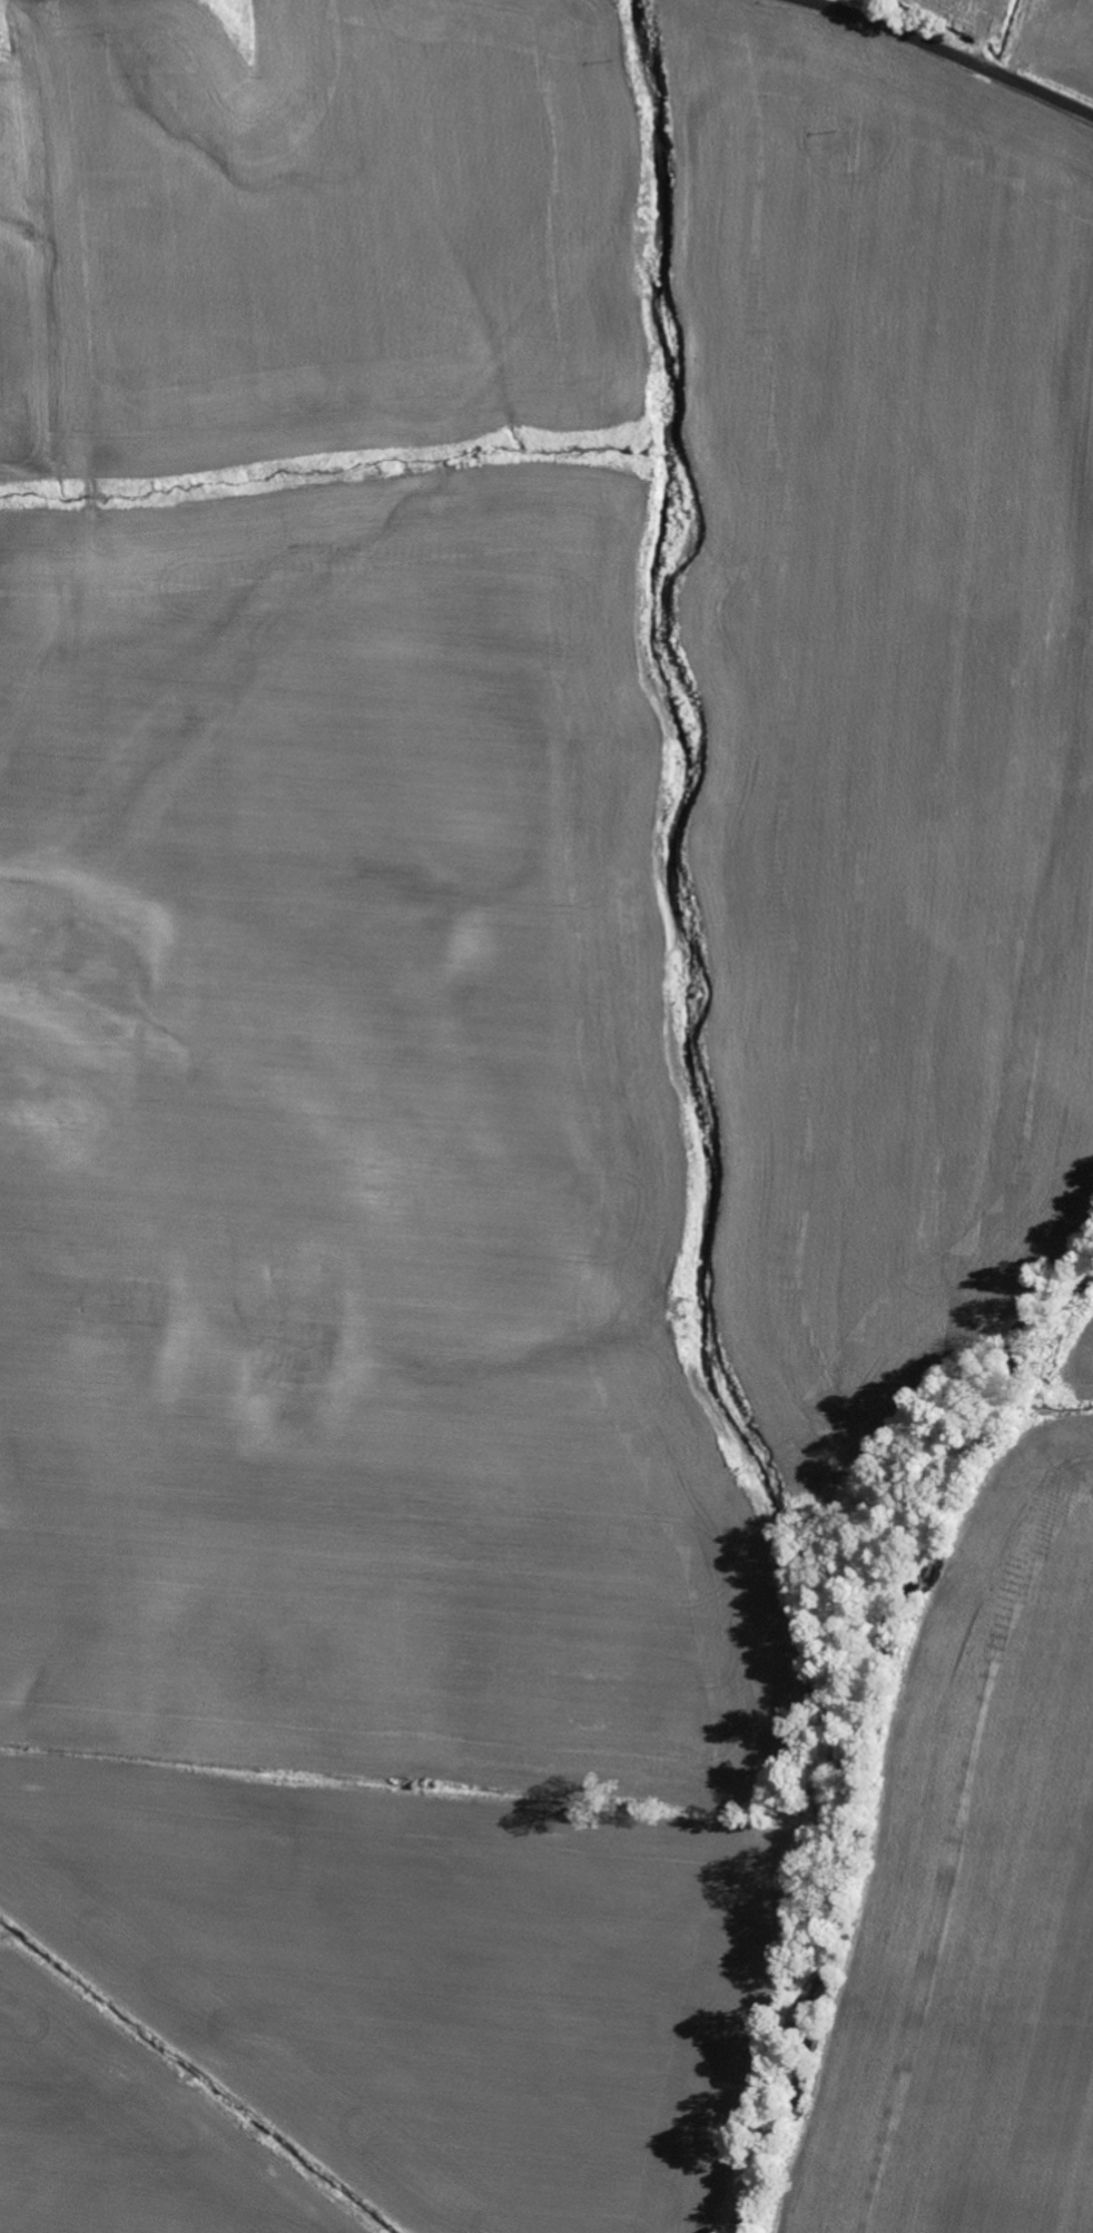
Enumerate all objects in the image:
road: (951, 53)

